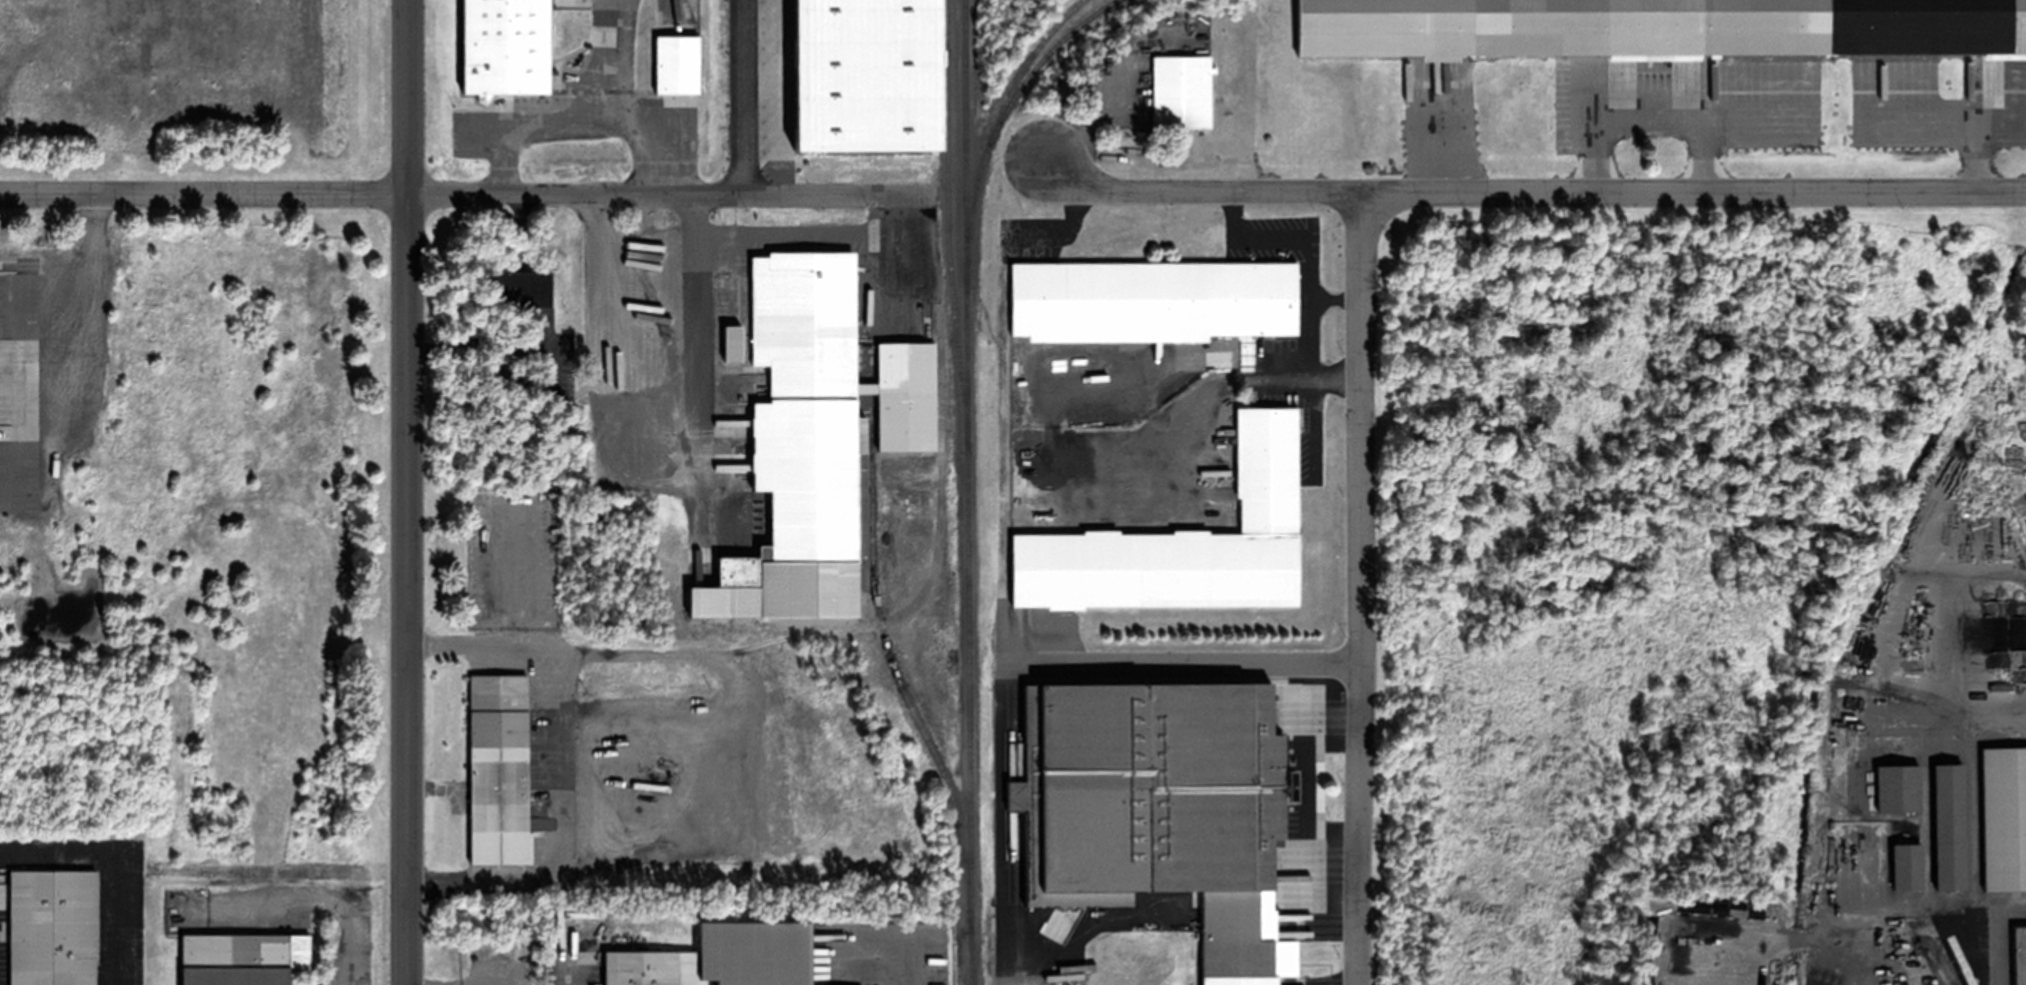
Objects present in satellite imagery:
building: (1659, 27)
road: (309, 45)
building: (505, 47)
railway: (1039, 61)
building: (677, 64)
building: (856, 76)
building: (1181, 90)
railway: (994, 129)
road: (1532, 186)
road: (439, 194)
railway: (947, 224)
building: (718, 281)
building: (523, 288)
building: (729, 295)
building: (1152, 300)
building: (820, 418)
building: (2019, 431)
building: (103, 436)
road: (405, 492)
railway: (967, 492)
building: (1183, 542)
road: (1357, 588)
railway: (890, 661)
road: (1184, 664)
road: (1977, 714)
building: (499, 769)
building: (1898, 787)
building: (2003, 817)
building: (1948, 825)
road: (1974, 851)
road: (120, 863)
building: (1906, 866)
road: (322, 896)
building: (1702, 905)
building: (583, 914)
road: (1844, 919)
building: (52, 927)
building: (2019, 954)
building: (723, 957)
building: (242, 958)
building: (1239, 980)

